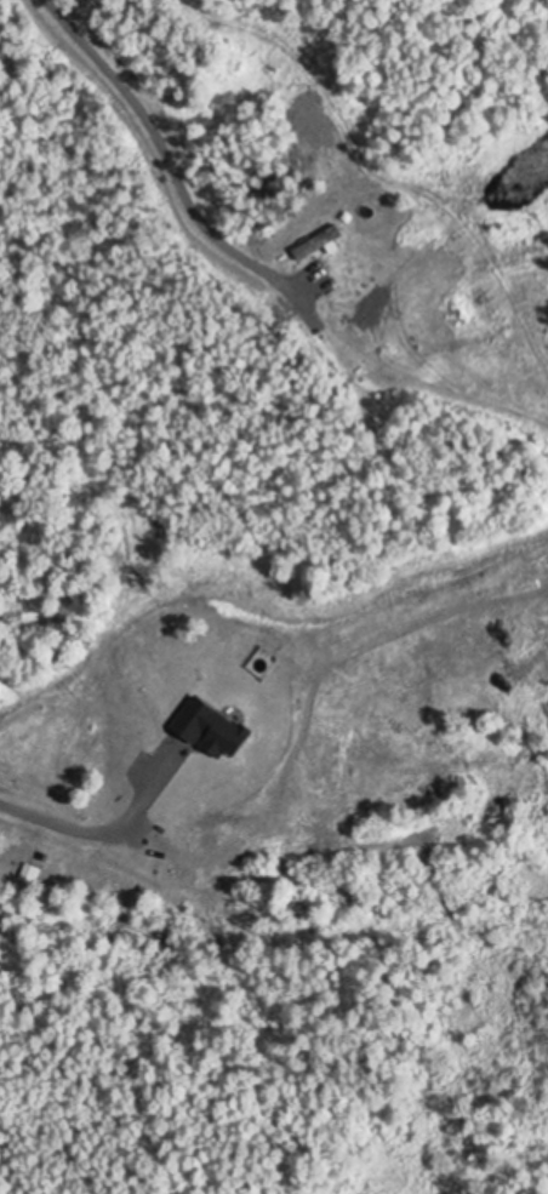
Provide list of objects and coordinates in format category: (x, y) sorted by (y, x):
building: (210, 726)

